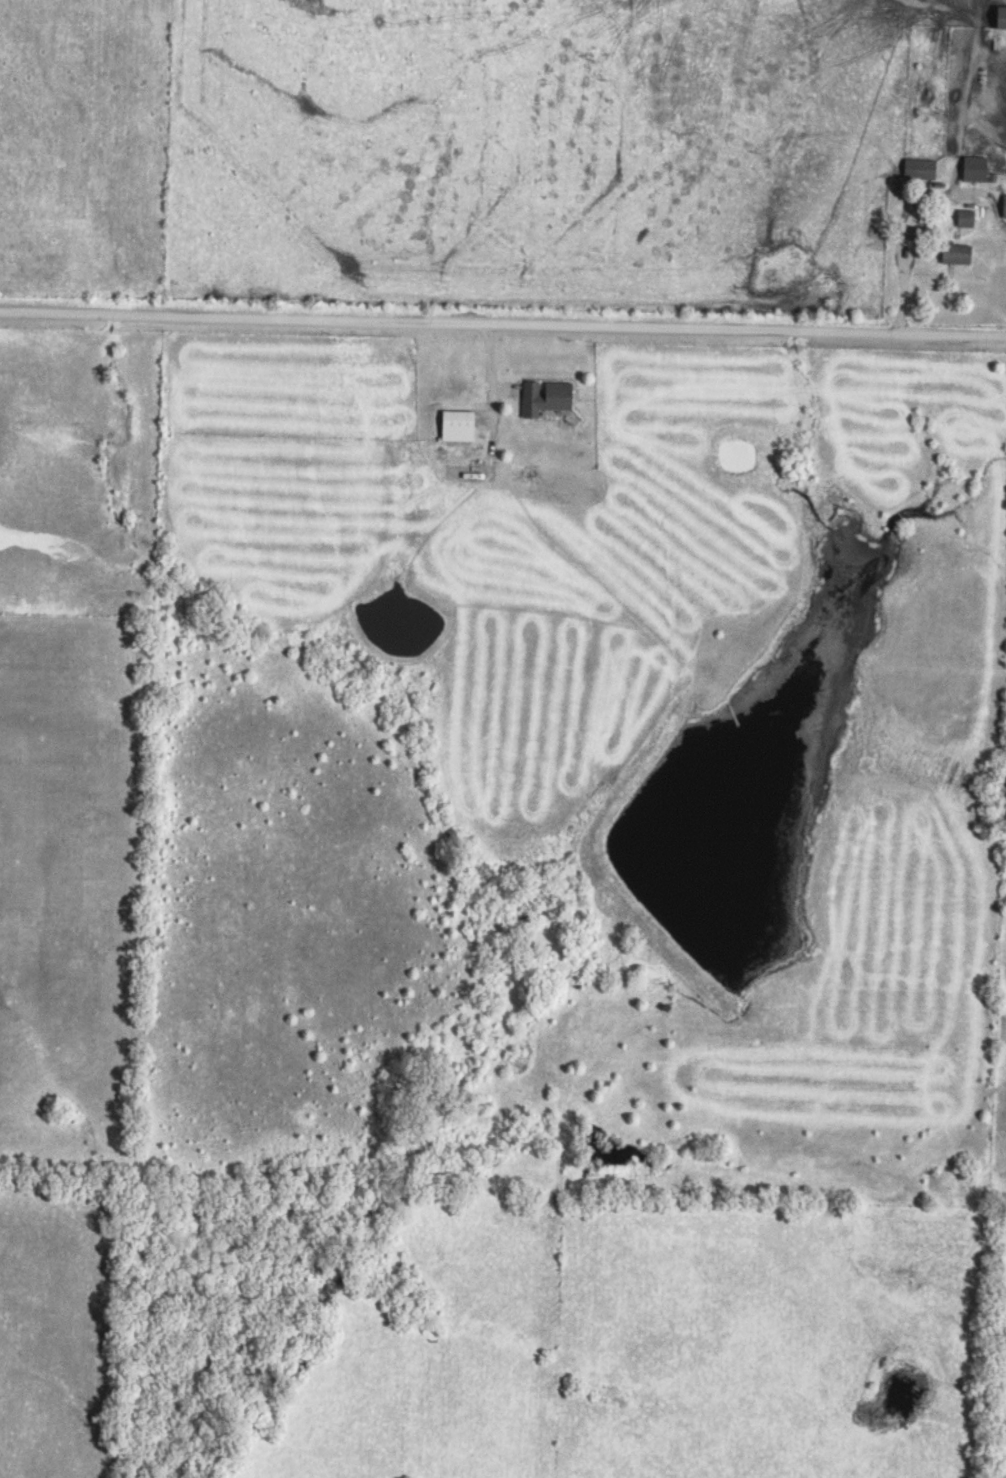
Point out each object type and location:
building: (998, 17)
building: (972, 168)
building: (917, 169)
building: (1002, 206)
road: (905, 211)
building: (963, 218)
building: (953, 253)
road: (503, 325)
road: (491, 390)
building: (542, 397)
building: (453, 426)

